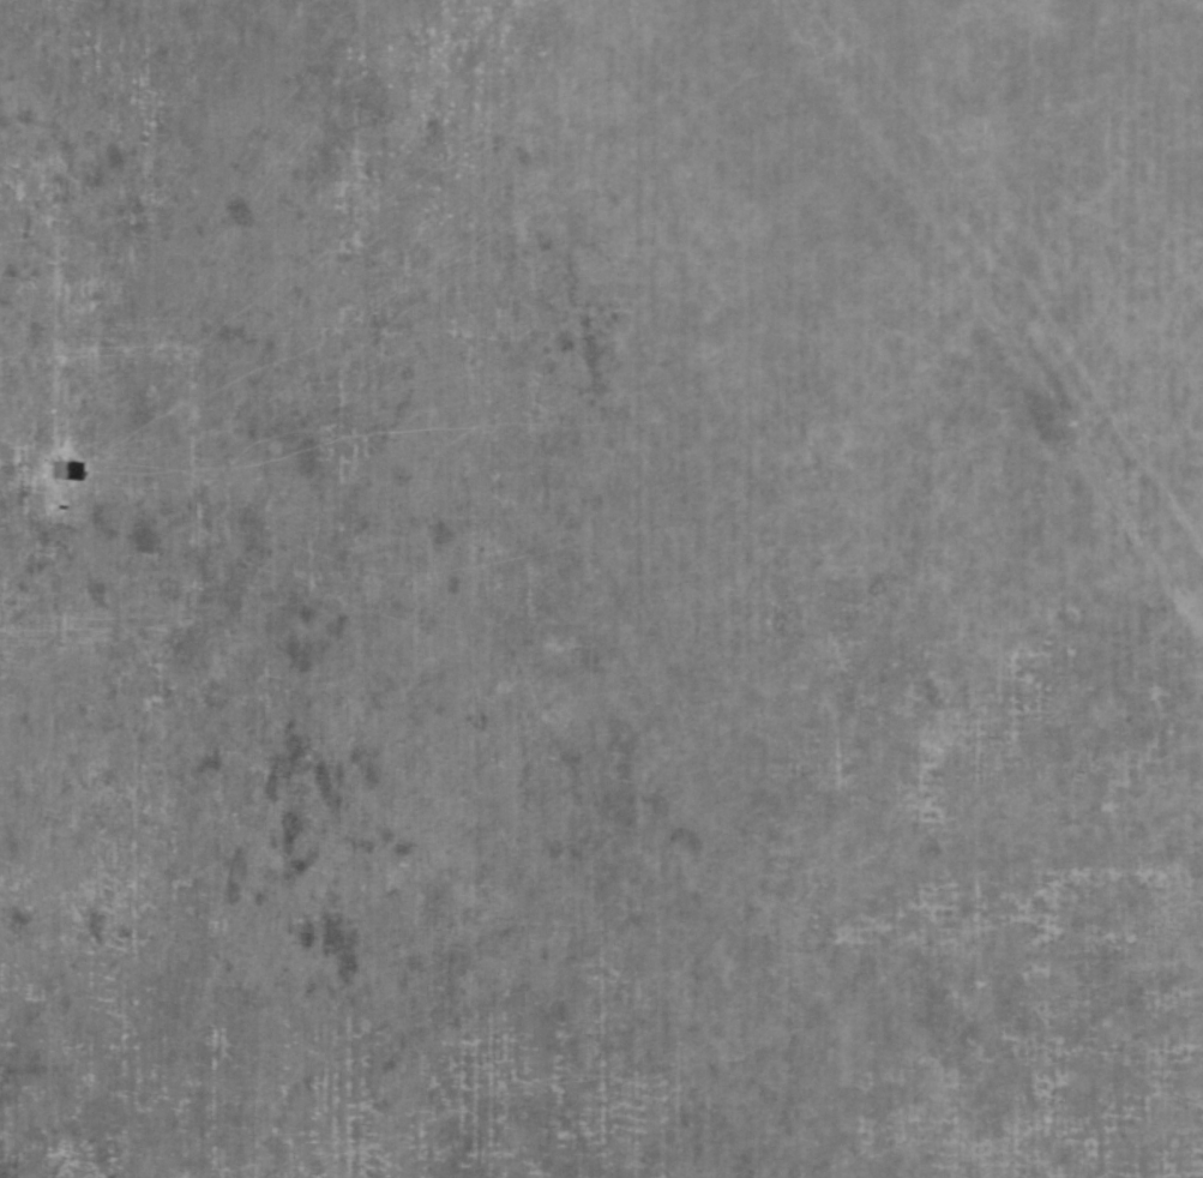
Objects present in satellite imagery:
road: (1027, 262)

